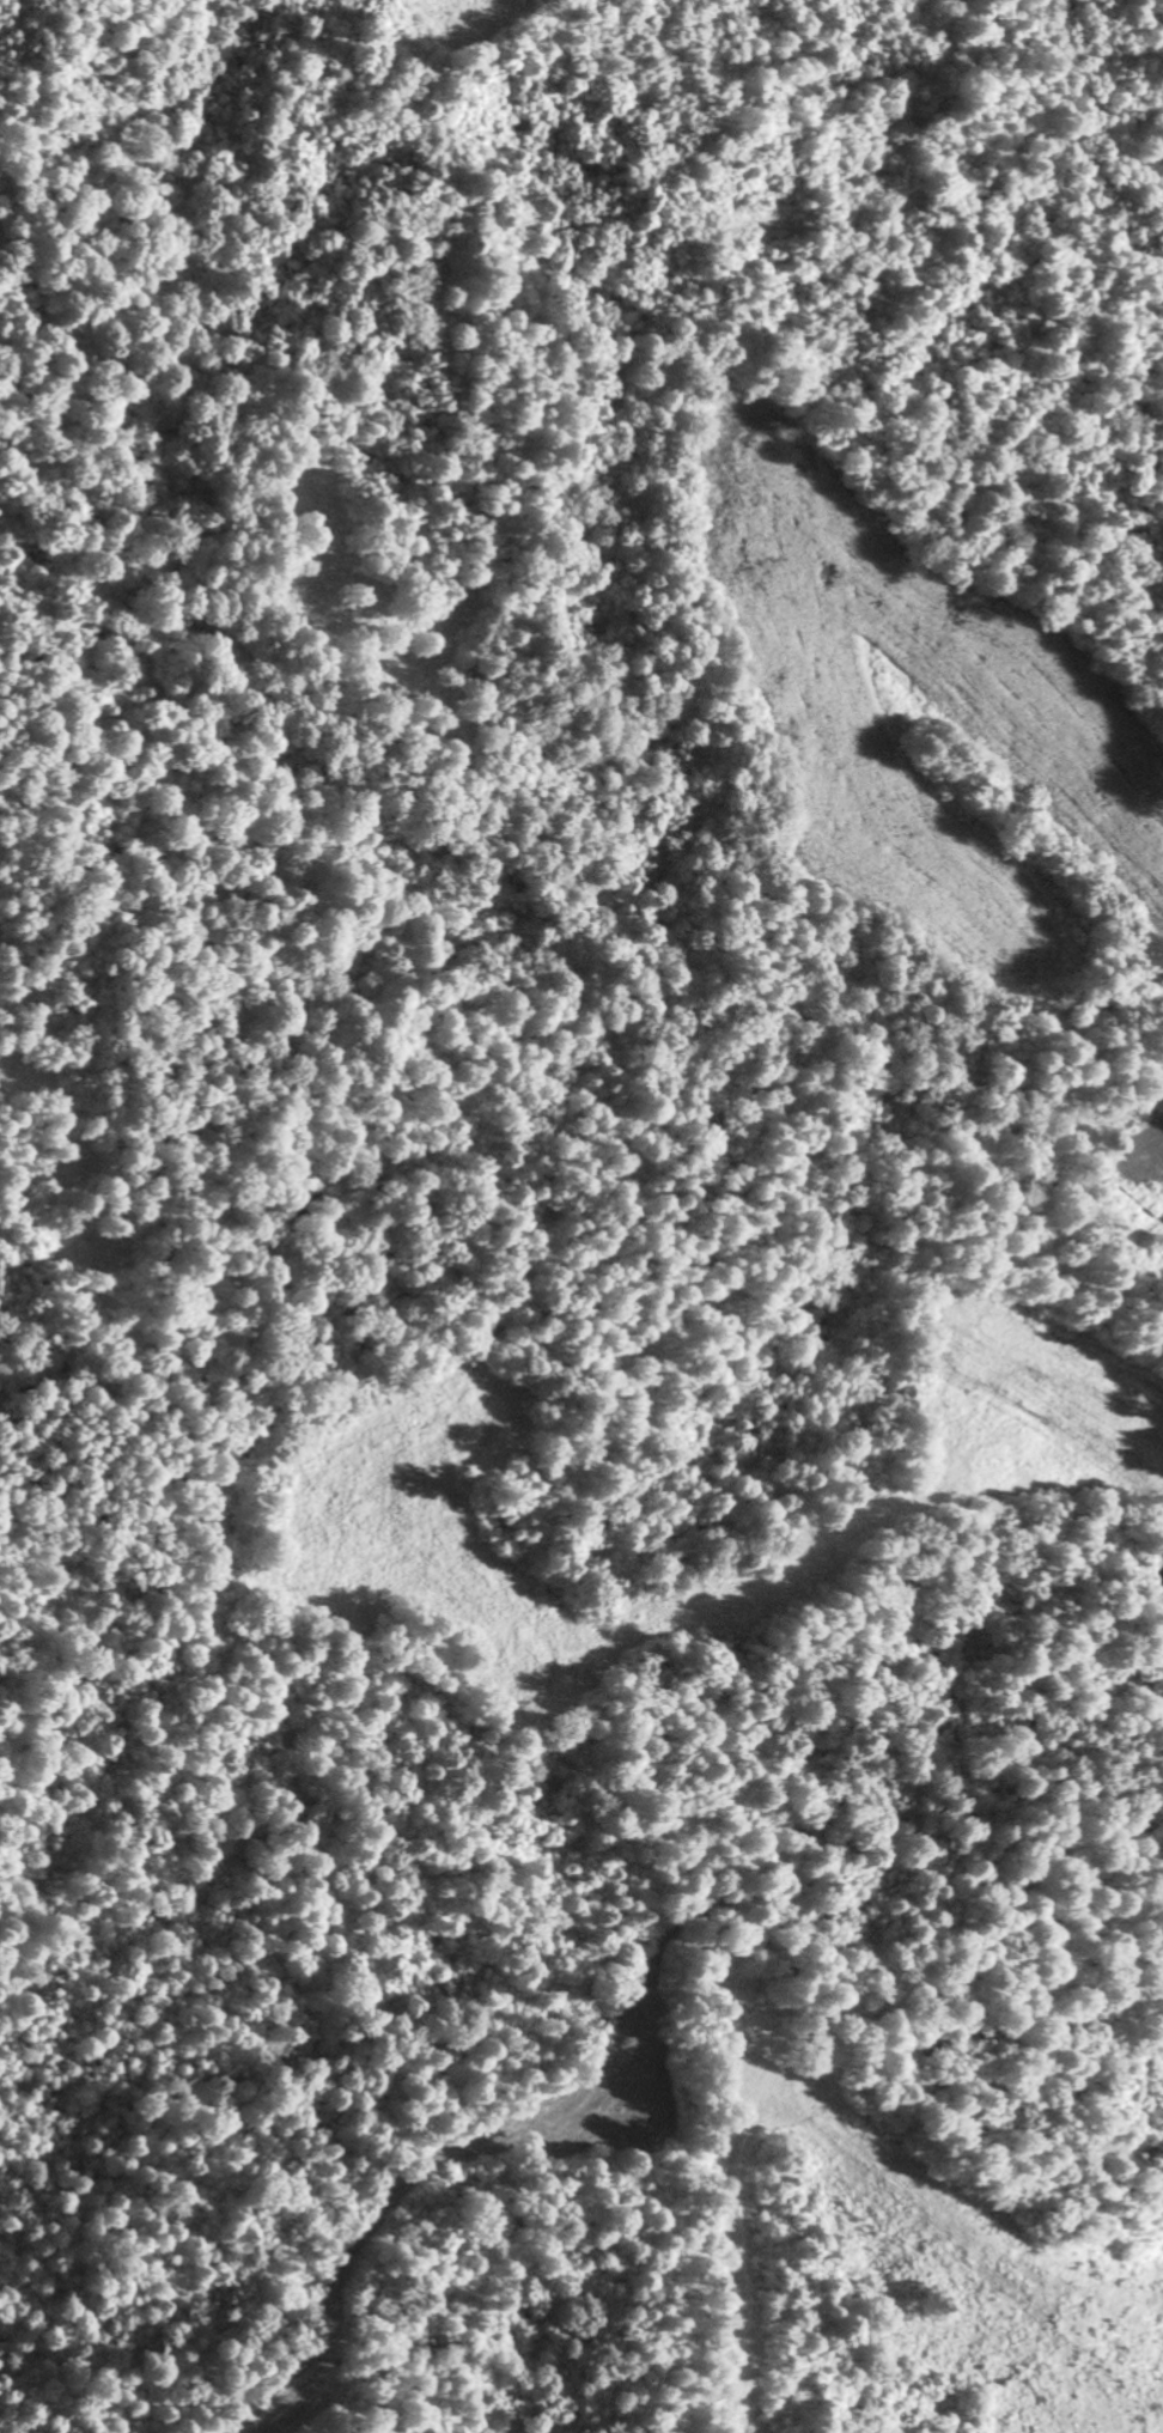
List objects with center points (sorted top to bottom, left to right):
road: (884, 1977)

